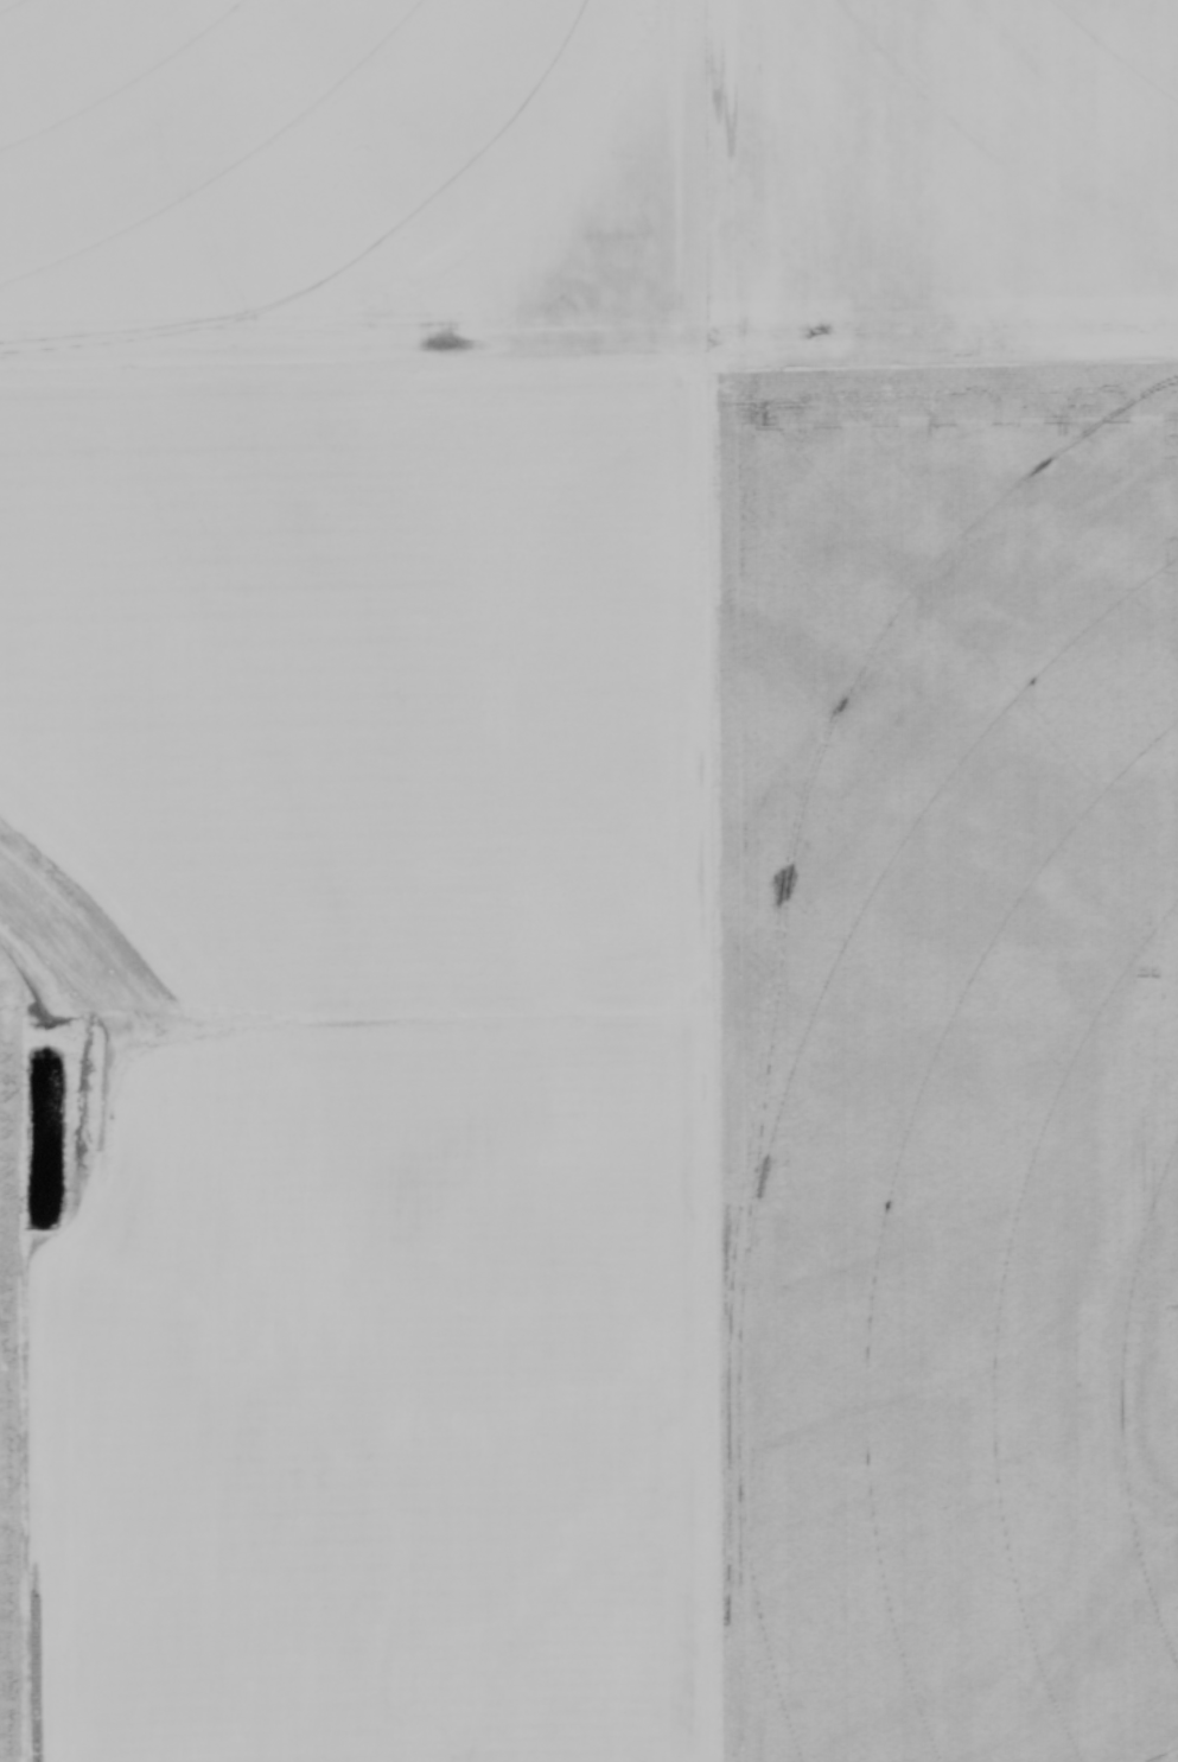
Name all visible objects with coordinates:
crop: (588, 880)

